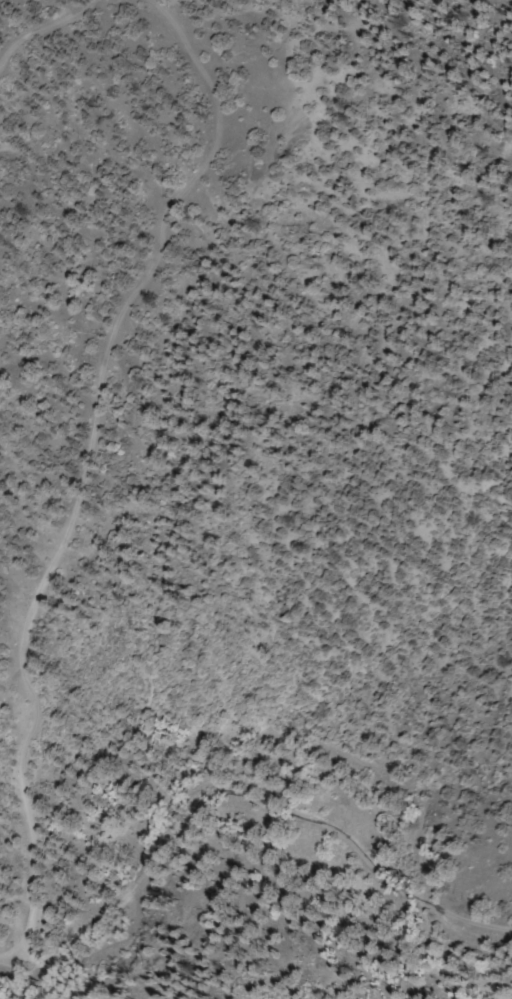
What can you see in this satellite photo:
road: (44, 29)
road: (23, 744)
road: (8, 953)
road: (10, 976)

